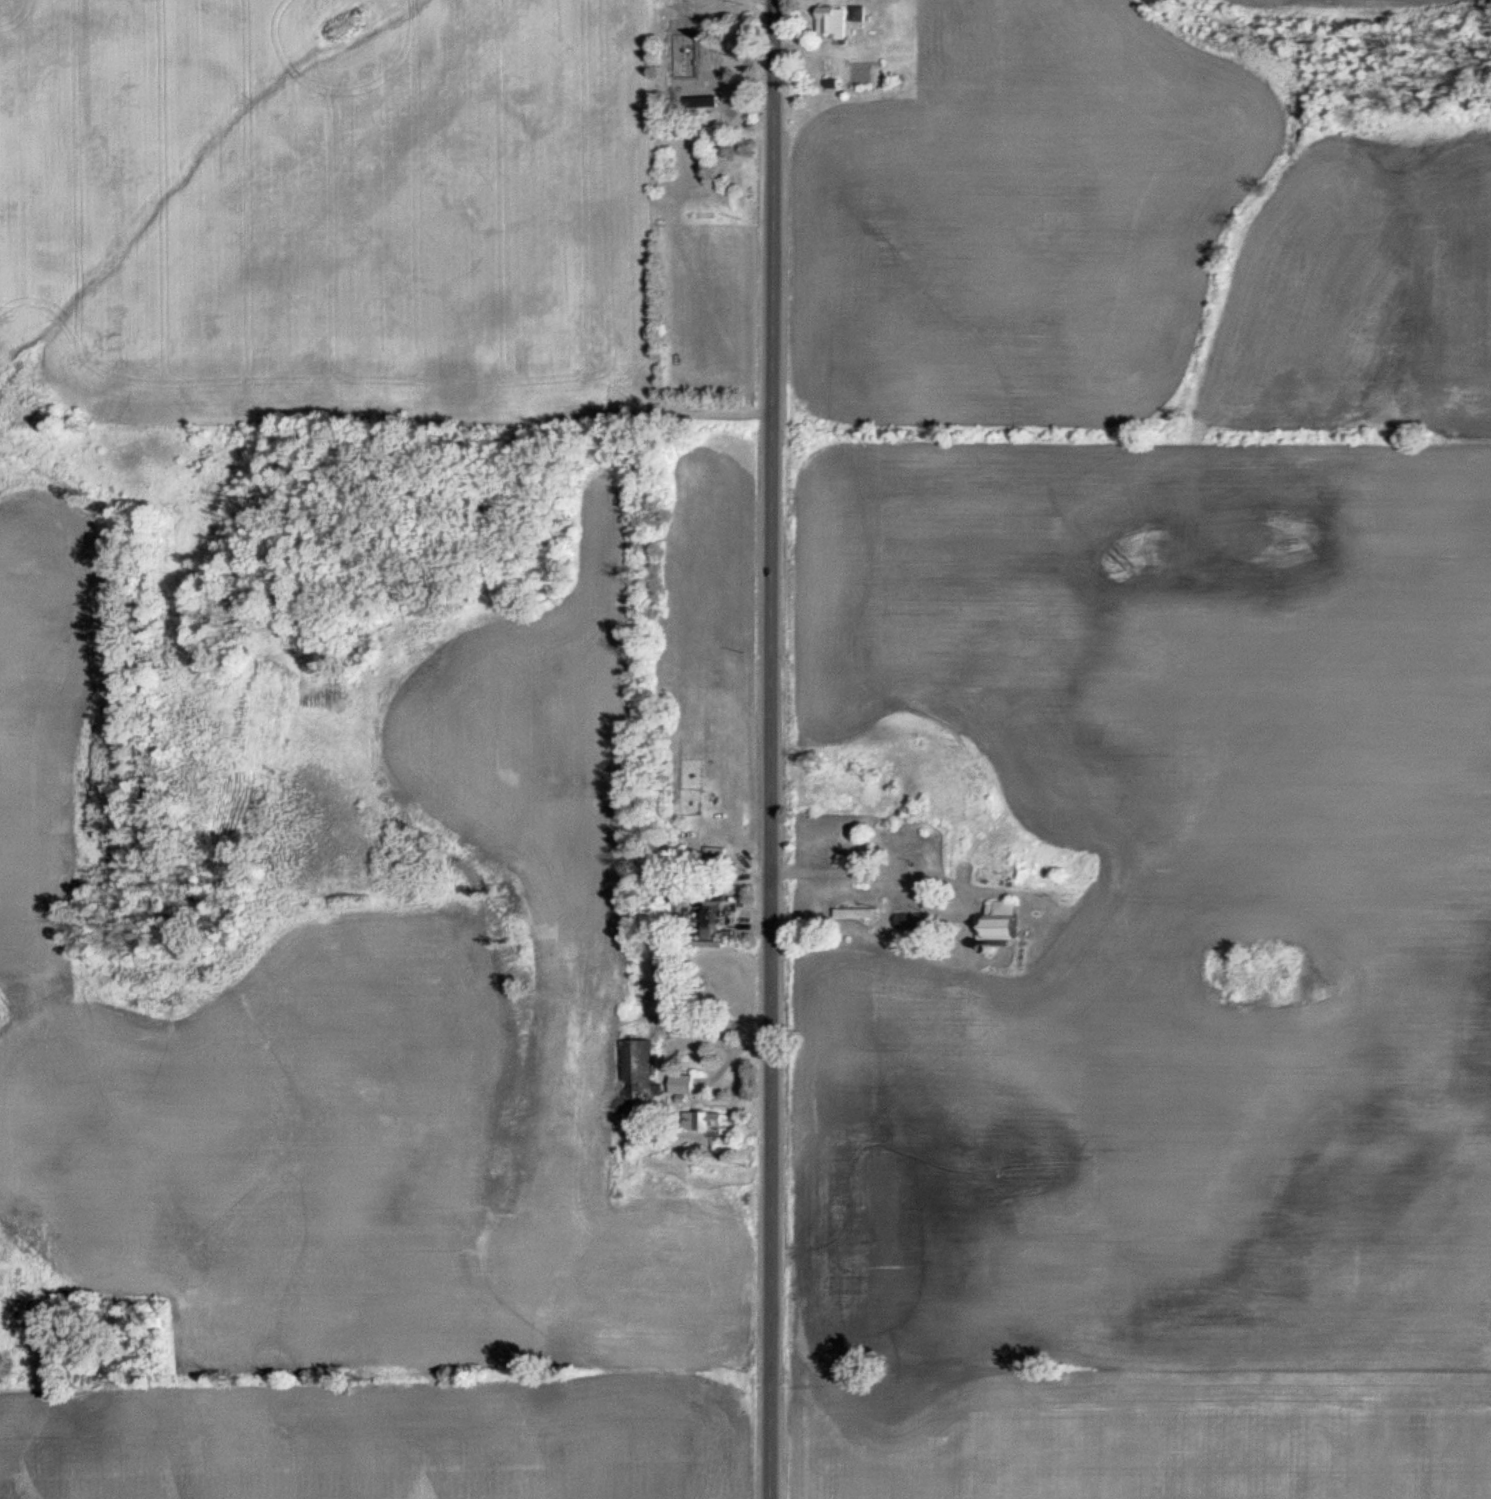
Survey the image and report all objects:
building: (840, 18)
building: (686, 63)
road: (767, 749)
road: (885, 873)
building: (855, 913)
building: (713, 920)
building: (911, 920)
building: (1001, 921)
building: (638, 1068)
building: (684, 1084)
building: (711, 1121)

